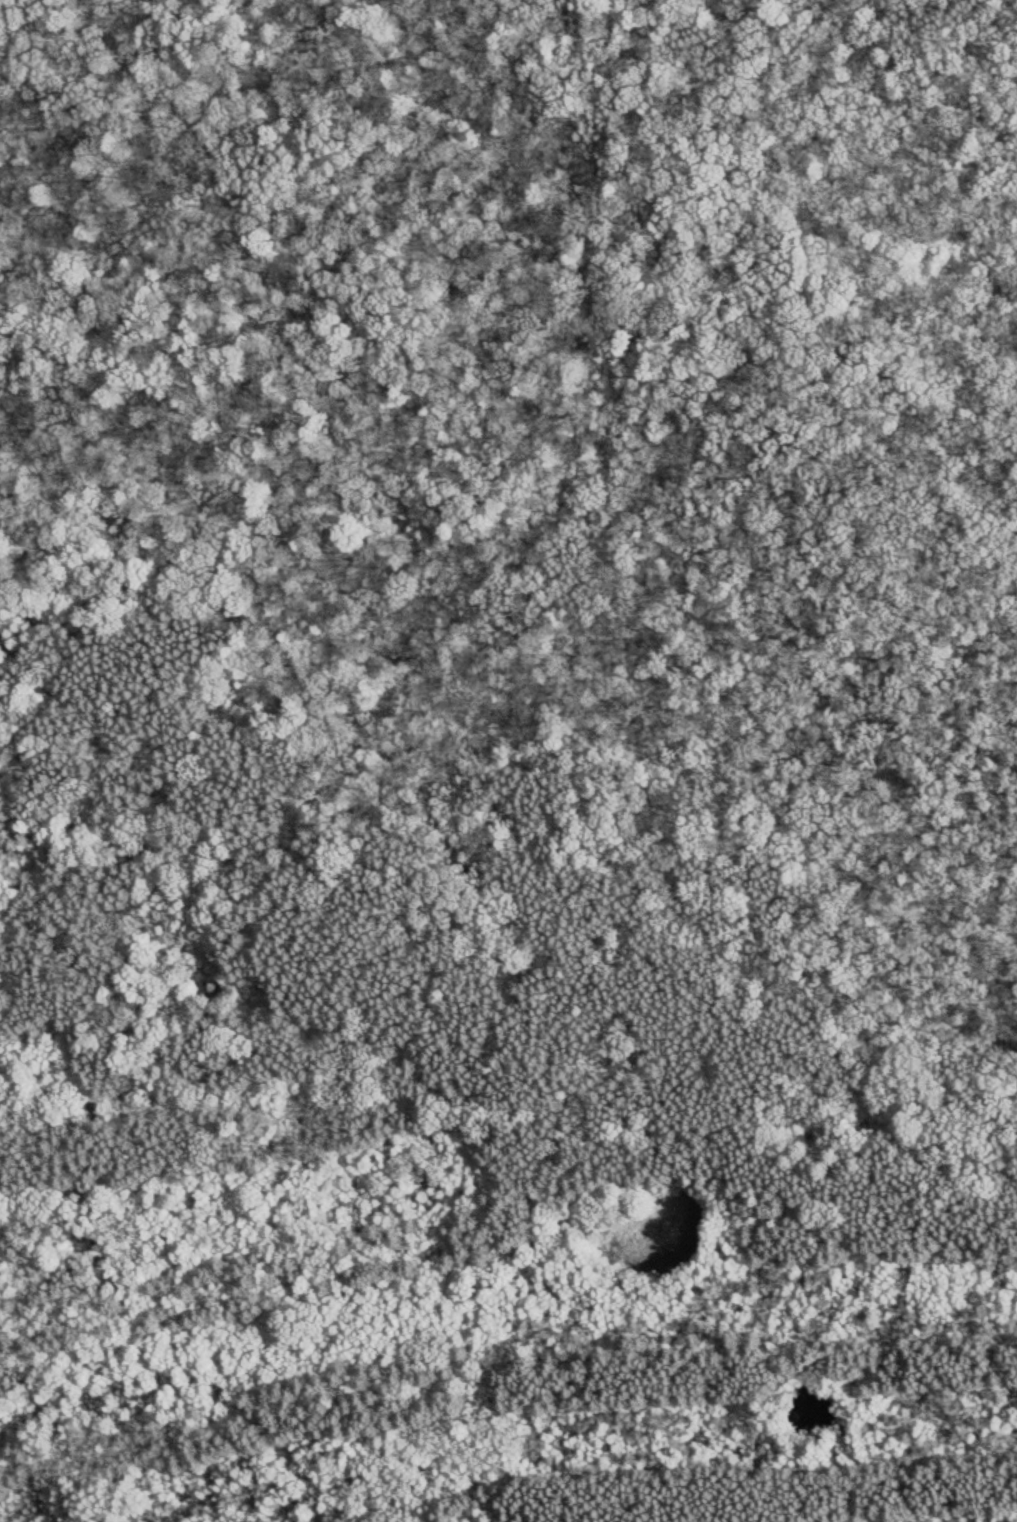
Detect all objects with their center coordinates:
road: (470, 167)
road: (171, 1310)

